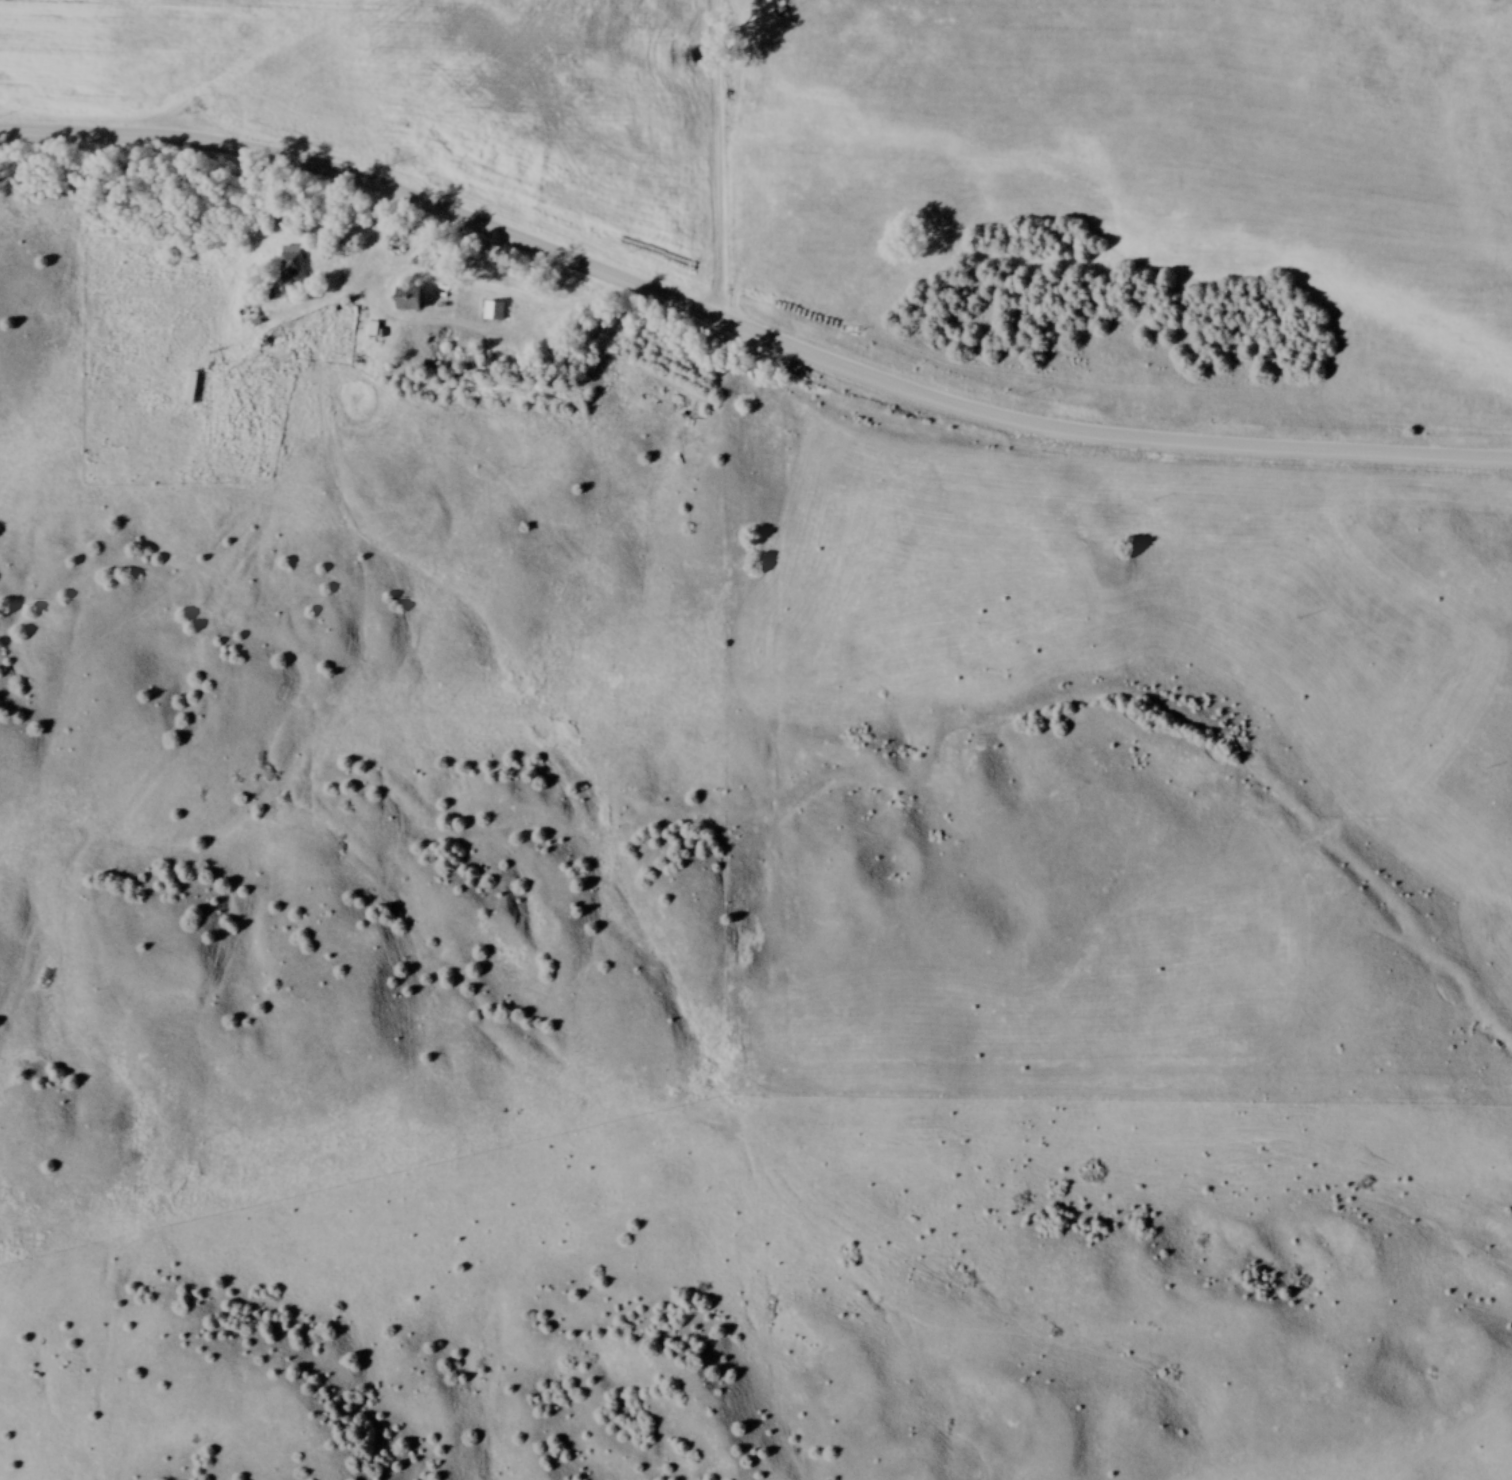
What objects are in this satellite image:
building: (410, 156)
building: (292, 268)
building: (409, 299)
building: (495, 311)
road: (747, 328)

